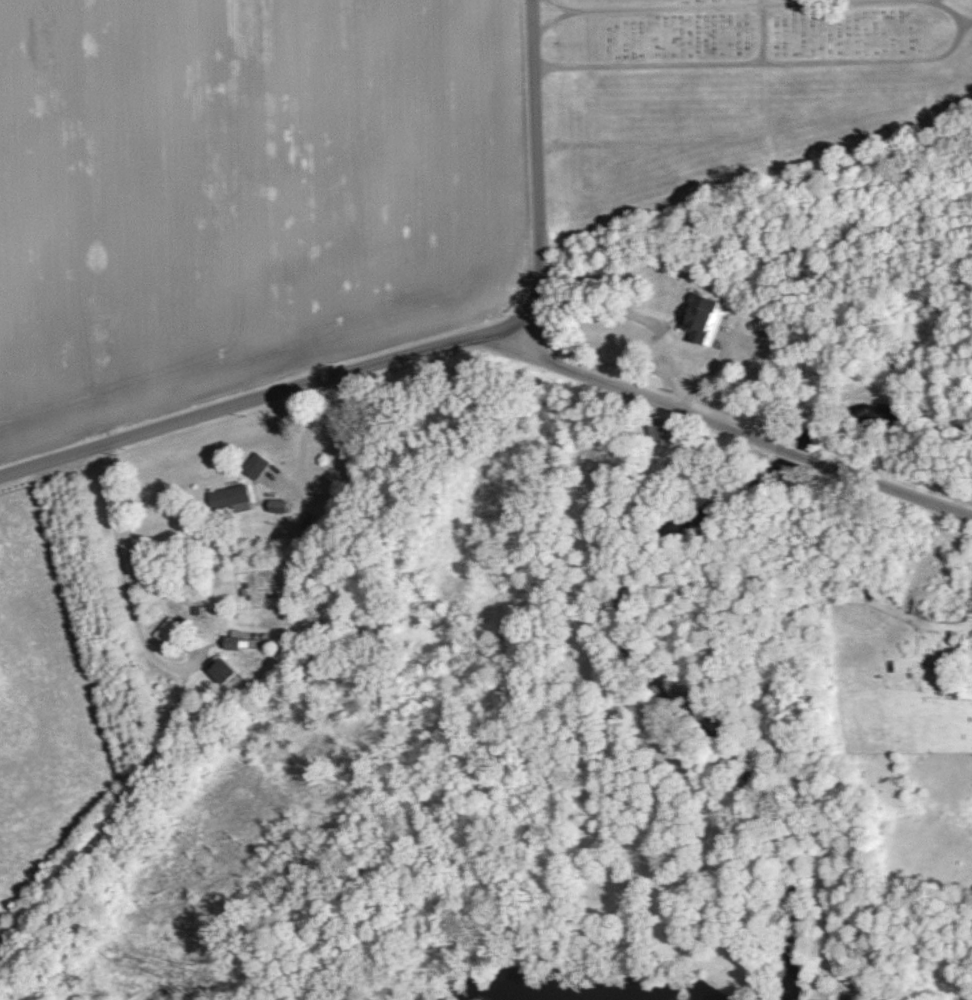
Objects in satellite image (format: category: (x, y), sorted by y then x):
road: (726, 6)
road: (550, 19)
road: (966, 21)
road: (761, 31)
road: (775, 61)
park: (734, 92)
road: (535, 148)
building: (700, 319)
road: (708, 375)
road: (634, 392)
road: (277, 395)
building: (654, 430)
road: (794, 453)
building: (253, 465)
road: (897, 490)
building: (227, 500)
road: (939, 547)
road: (125, 589)
building: (164, 631)
building: (230, 643)
building: (219, 671)
road: (596, 818)

